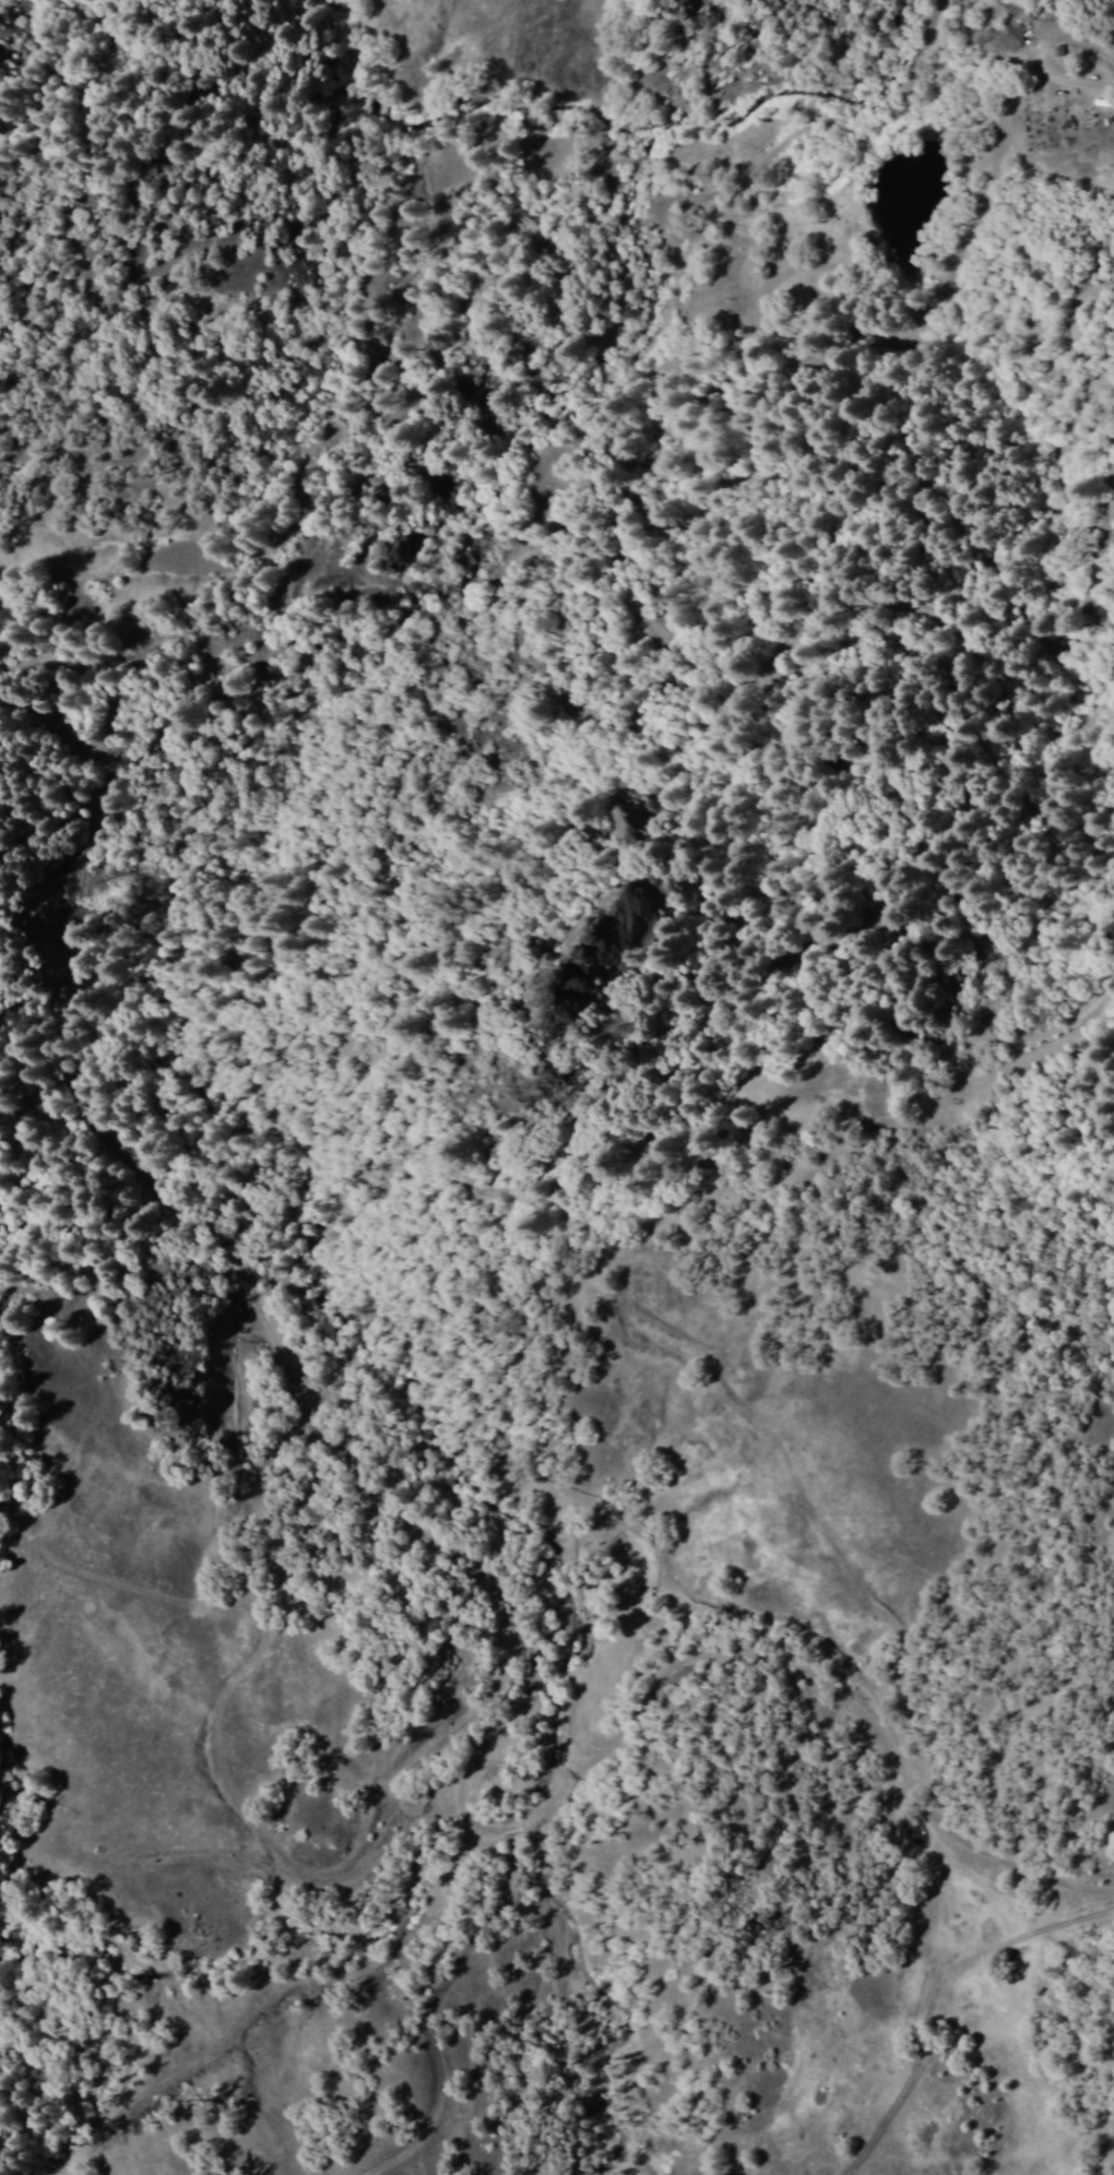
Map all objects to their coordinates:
road: (1009, 131)
road: (769, 164)
road: (555, 451)
road: (510, 1626)
road: (937, 1995)

